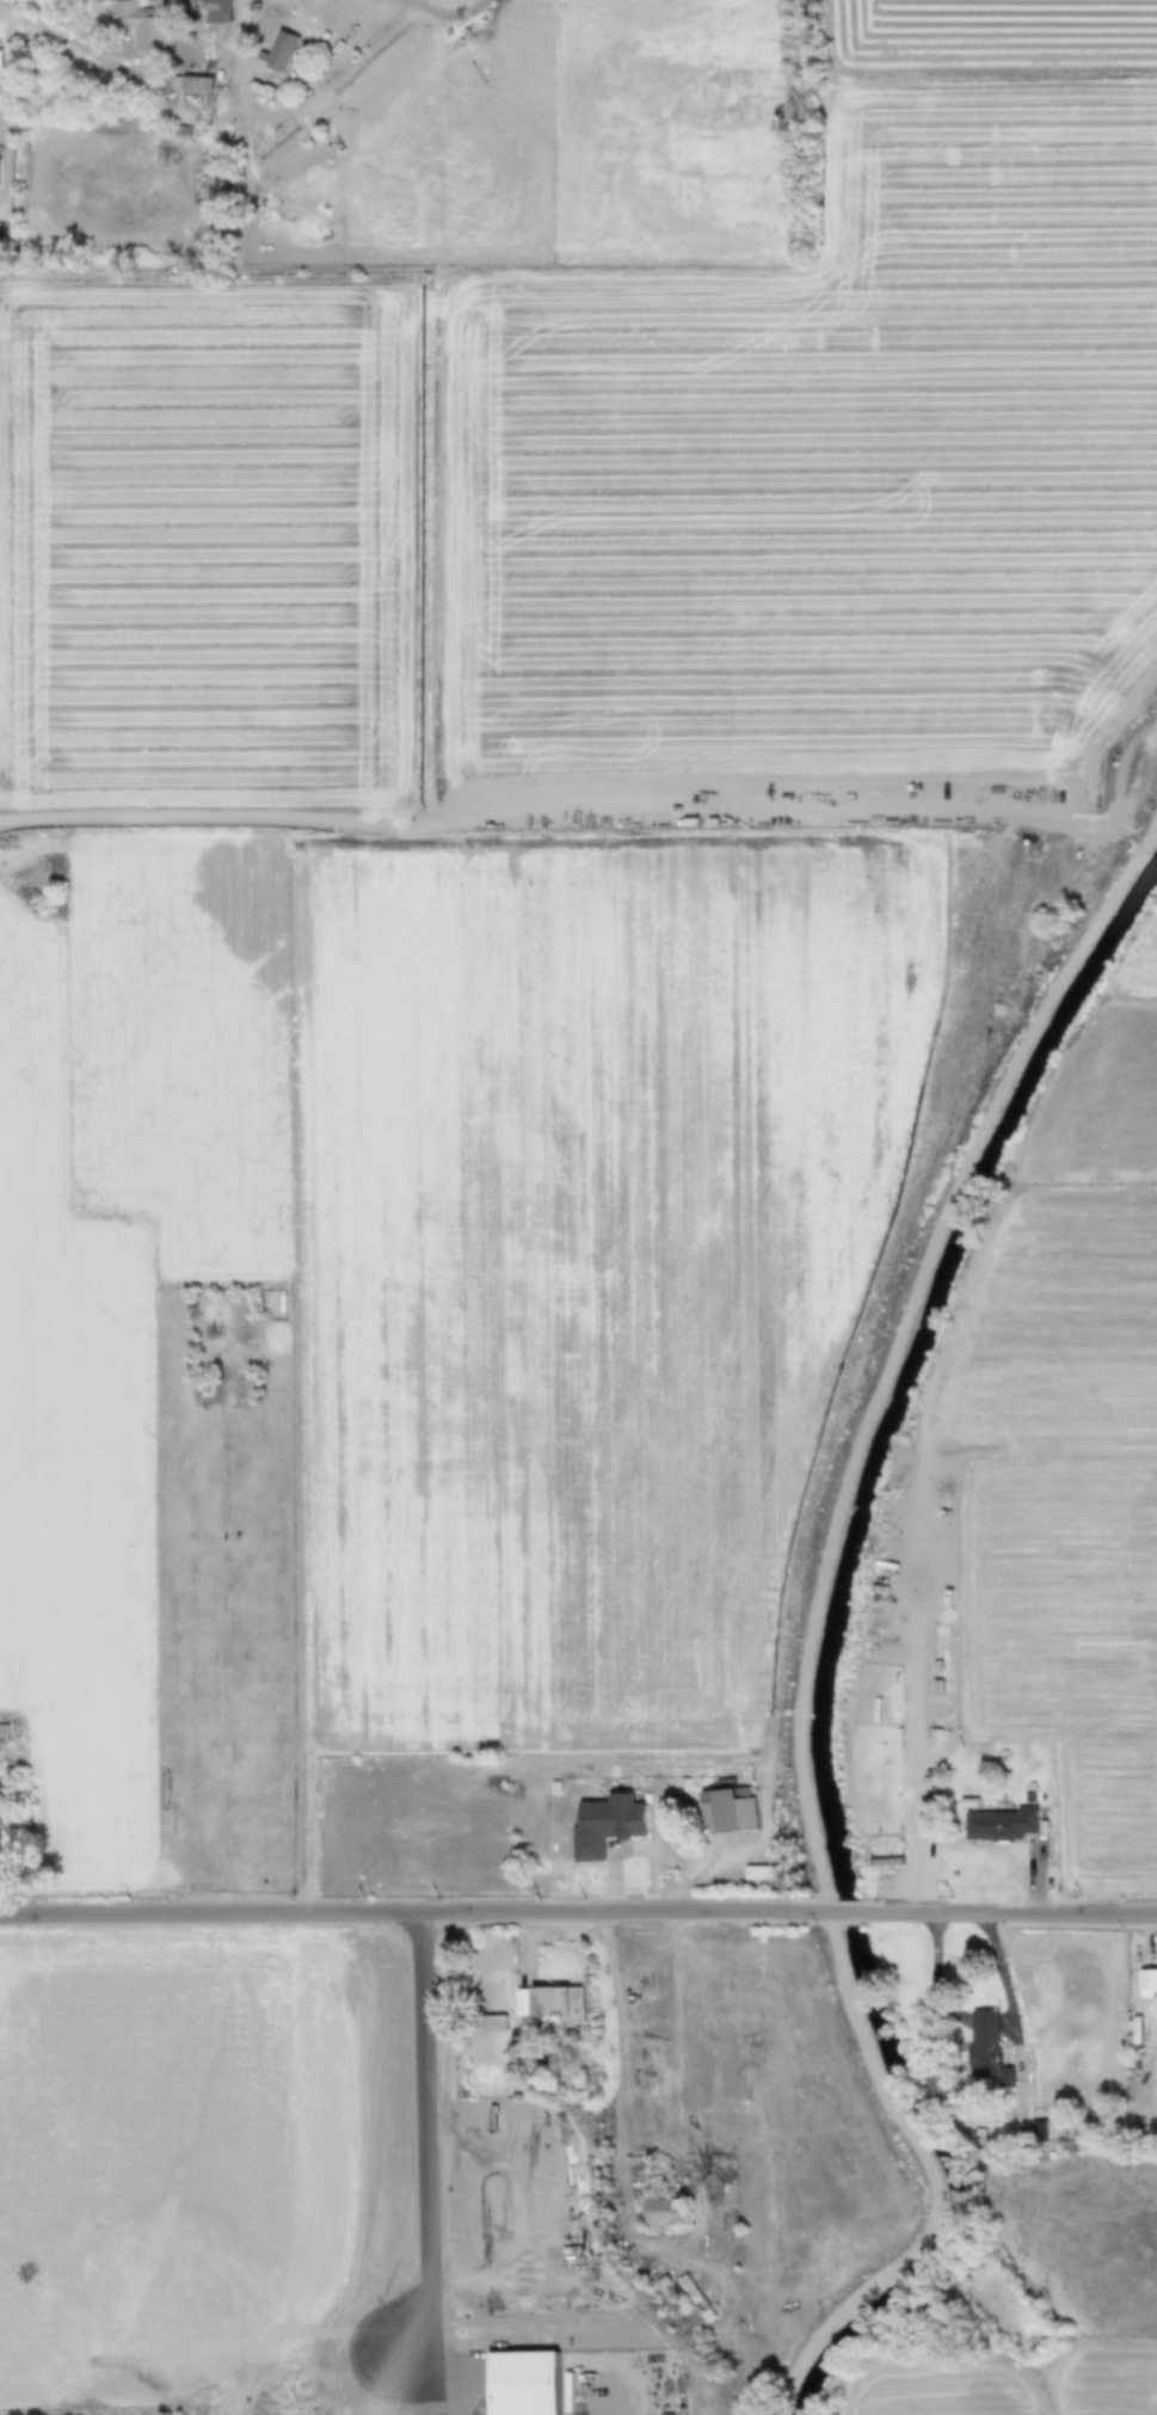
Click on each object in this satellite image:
road: (449, 10)
building: (214, 12)
building: (143, 25)
building: (284, 50)
road: (81, 53)
building: (198, 90)
road: (288, 123)
road: (12, 124)
building: (0, 173)
building: (289, 191)
building: (5, 235)
road: (816, 1628)
building: (7, 1789)
building: (727, 1809)
road: (929, 1813)
building: (998, 1823)
building: (613, 1824)
road: (578, 1911)
building: (553, 2005)
building: (496, 2023)
building: (989, 2040)
building: (943, 2084)
road: (618, 2093)
building: (670, 2211)
road: (992, 2305)
building: (528, 2383)

